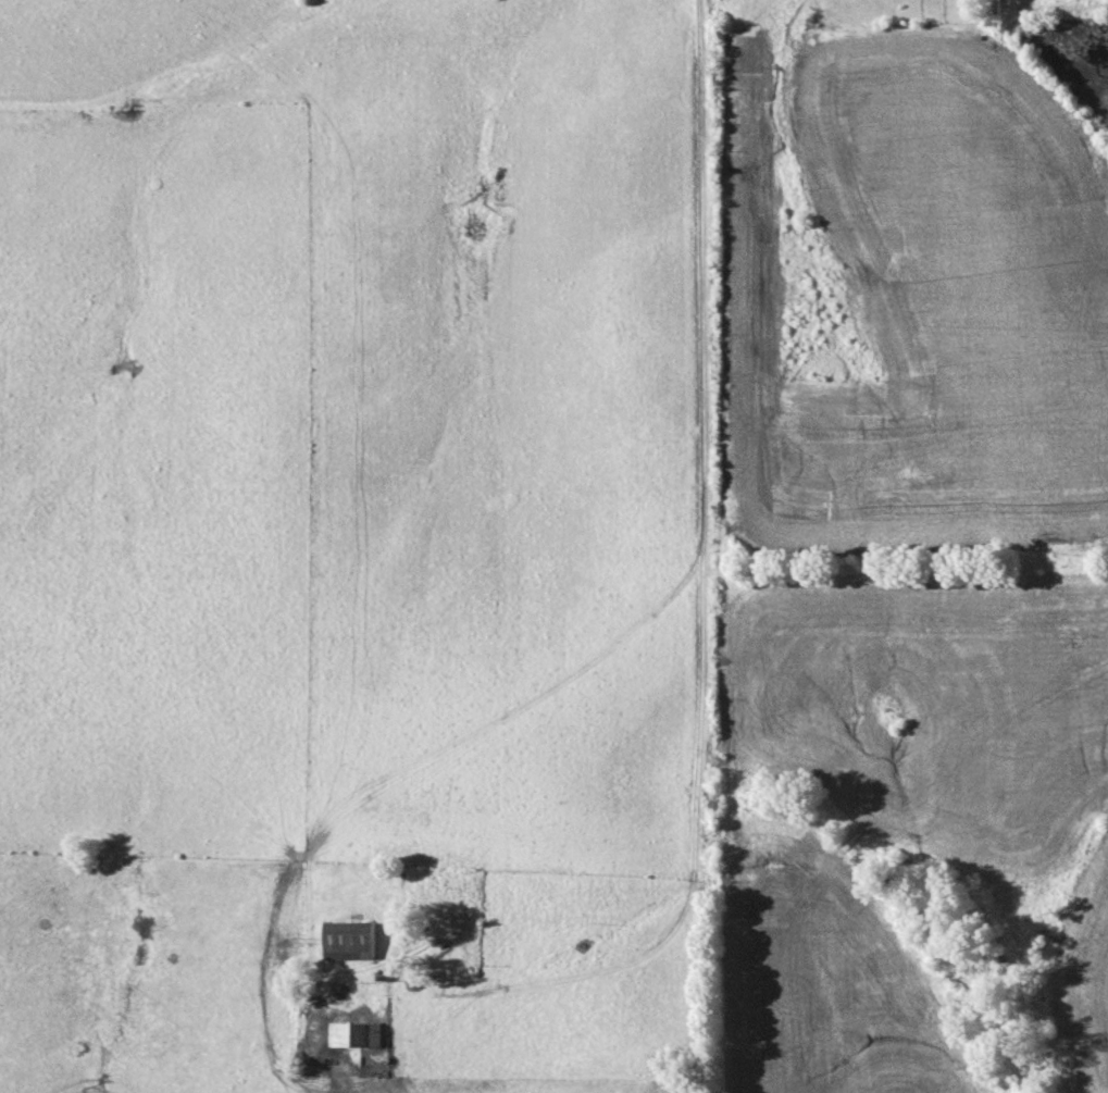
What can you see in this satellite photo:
road: (711, 490)
road: (446, 753)
building: (349, 940)
building: (356, 1034)
park: (676, 1068)

